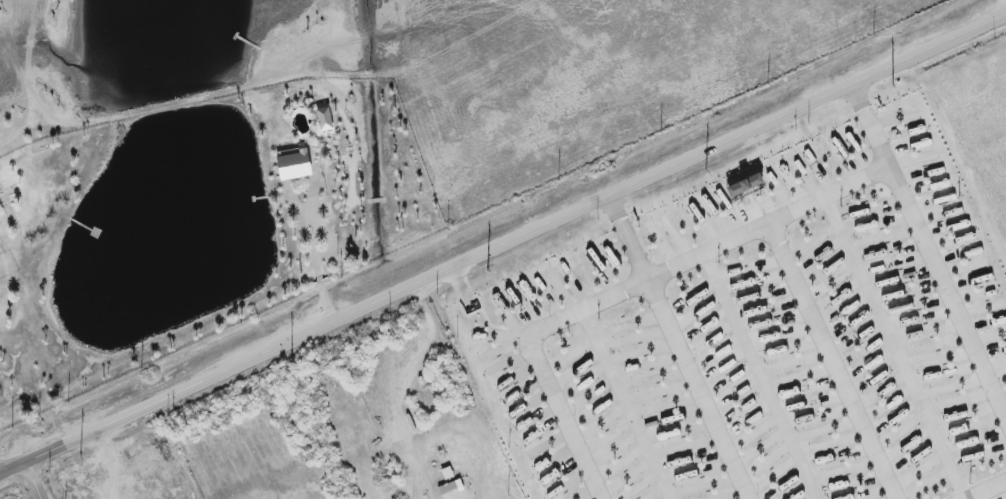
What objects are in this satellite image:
building: (324, 119)
building: (294, 165)
building: (744, 185)
road: (503, 247)
road: (707, 252)
road: (929, 257)
road: (679, 349)
road: (834, 361)
road: (626, 405)
road: (565, 418)
road: (29, 483)
building: (451, 488)
road: (986, 489)

